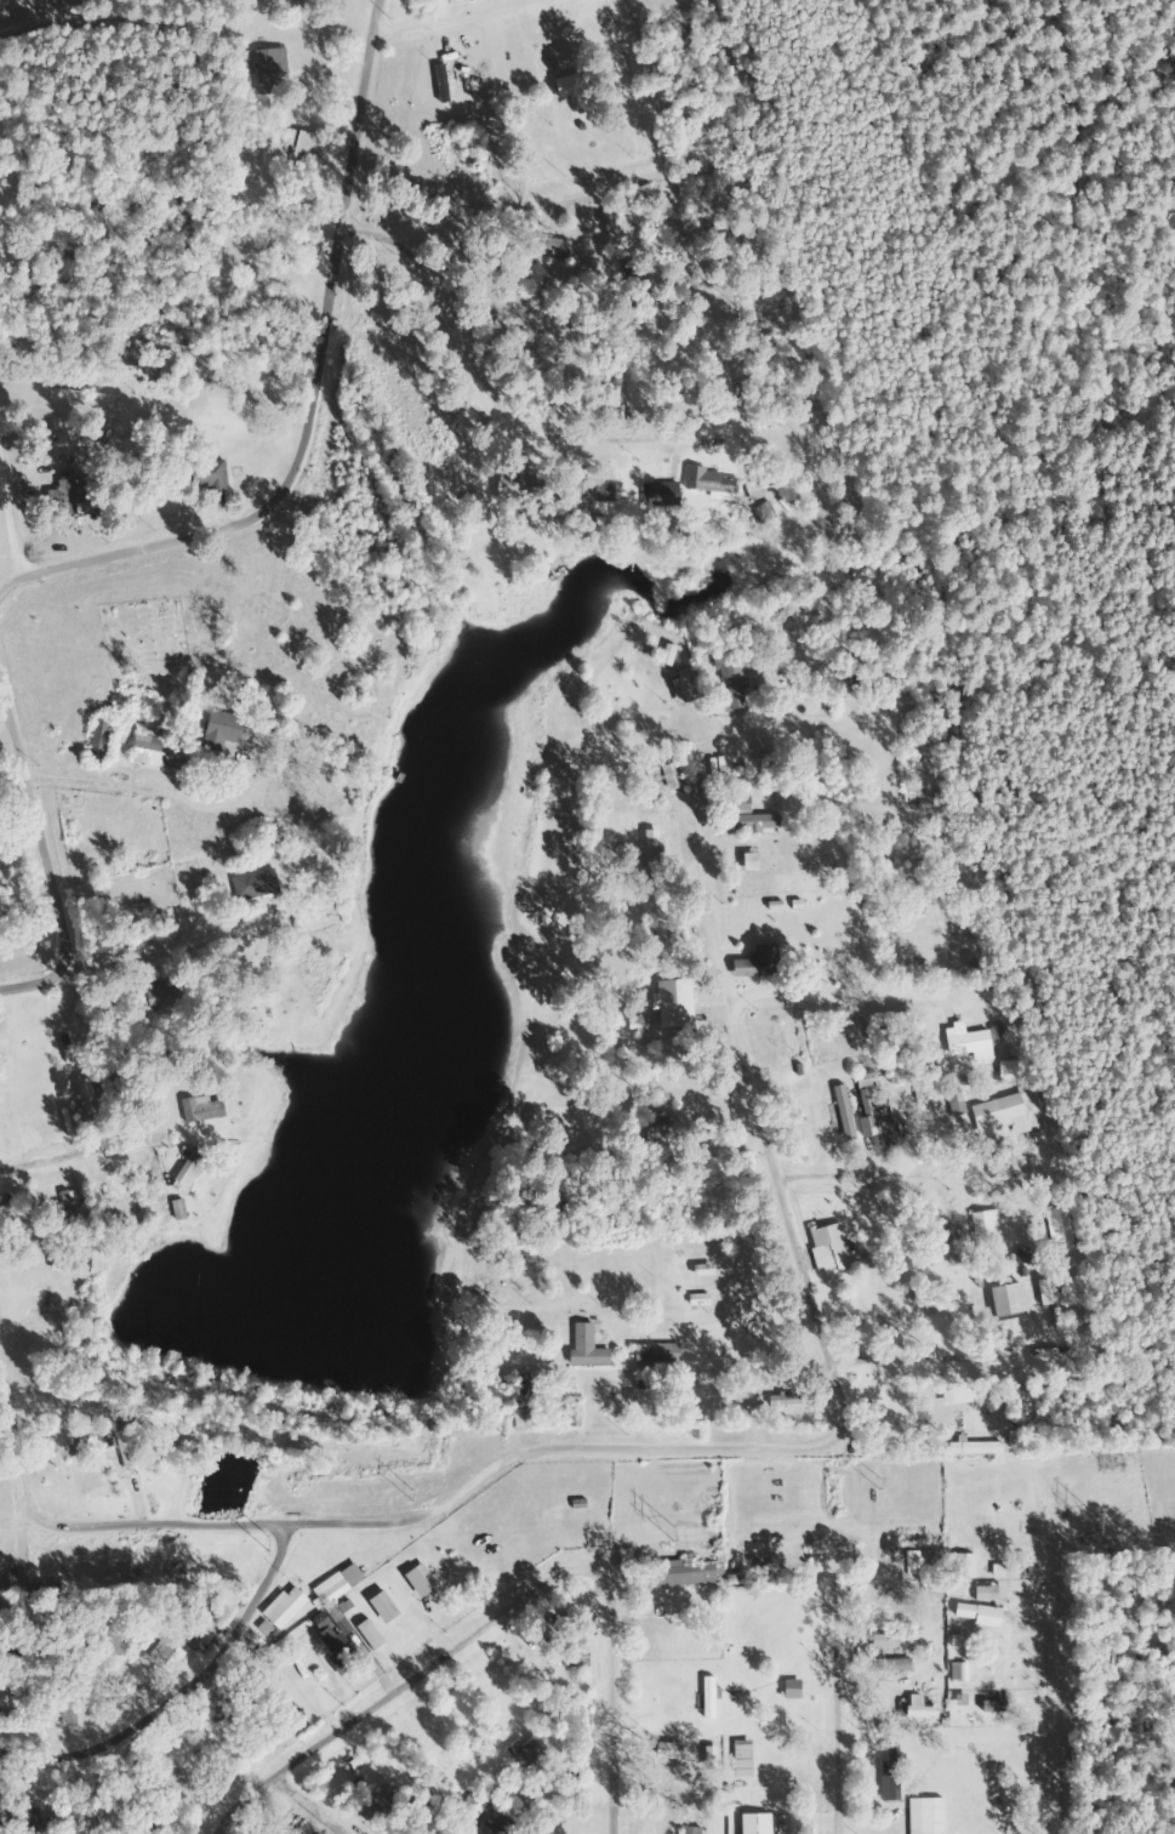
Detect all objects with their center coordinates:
building: (437, 1)
road: (754, 13)
building: (268, 69)
building: (566, 86)
road: (712, 93)
building: (303, 147)
road: (52, 307)
road: (684, 347)
building: (79, 359)
road: (321, 389)
building: (200, 478)
building: (711, 484)
building: (508, 488)
building: (578, 489)
building: (603, 494)
road: (6, 547)
building: (857, 672)
building: (742, 674)
road: (205, 678)
building: (685, 687)
building: (219, 733)
building: (159, 754)
building: (743, 767)
building: (671, 778)
road: (25, 782)
road: (793, 809)
building: (743, 818)
road: (857, 842)
road: (754, 848)
building: (648, 855)
building: (252, 885)
road: (829, 936)
road: (141, 953)
building: (762, 961)
road: (713, 979)
road: (18, 981)
building: (160, 997)
building: (671, 1003)
road: (859, 1033)
building: (997, 1033)
building: (963, 1041)
building: (84, 1098)
building: (953, 1103)
building: (863, 1109)
building: (199, 1110)
building: (840, 1112)
building: (1000, 1115)
building: (187, 1168)
building: (107, 1187)
road: (895, 1198)
building: (65, 1207)
building: (982, 1226)
building: (1056, 1229)
road: (109, 1231)
building: (827, 1244)
building: (68, 1261)
road: (1039, 1268)
building: (1044, 1292)
building: (917, 1294)
building: (1004, 1300)
building: (586, 1351)
building: (654, 1354)
road: (940, 1366)
building: (746, 1386)
building: (669, 1392)
building: (780, 1401)
building: (518, 1403)
road: (608, 1442)
building: (971, 1448)
building: (176, 1449)
building: (125, 1451)
power tower: (872, 1479)
power tower: (411, 1496)
road: (210, 1502)
power tower: (1088, 1520)
power tower: (666, 1532)
power tower: (259, 1542)
building: (909, 1564)
building: (960, 1566)
building: (673, 1576)
building: (415, 1583)
building: (333, 1584)
building: (38, 1589)
building: (929, 1591)
building: (982, 1594)
building: (5, 1604)
building: (381, 1607)
building: (1145, 1610)
building: (279, 1611)
building: (974, 1614)
building: (201, 1629)
building: (366, 1635)
building: (882, 1641)
building: (330, 1645)
building: (164, 1656)
building: (577, 1656)
building: (888, 1664)
road: (410, 1670)
building: (956, 1671)
building: (788, 1690)
building: (705, 1698)
building: (989, 1707)
road: (586, 1709)
building: (916, 1711)
building: (65, 1713)
building: (230, 1716)
road: (1022, 1718)
road: (165, 1724)
road: (843, 1730)
building: (519, 1754)
building: (735, 1759)
road: (229, 1781)
building: (886, 1781)
road: (320, 1799)
building: (469, 1806)
building: (923, 1816)
building: (418, 1821)
building: (143, 1823)
building: (494, 1823)
building: (686, 1830)

